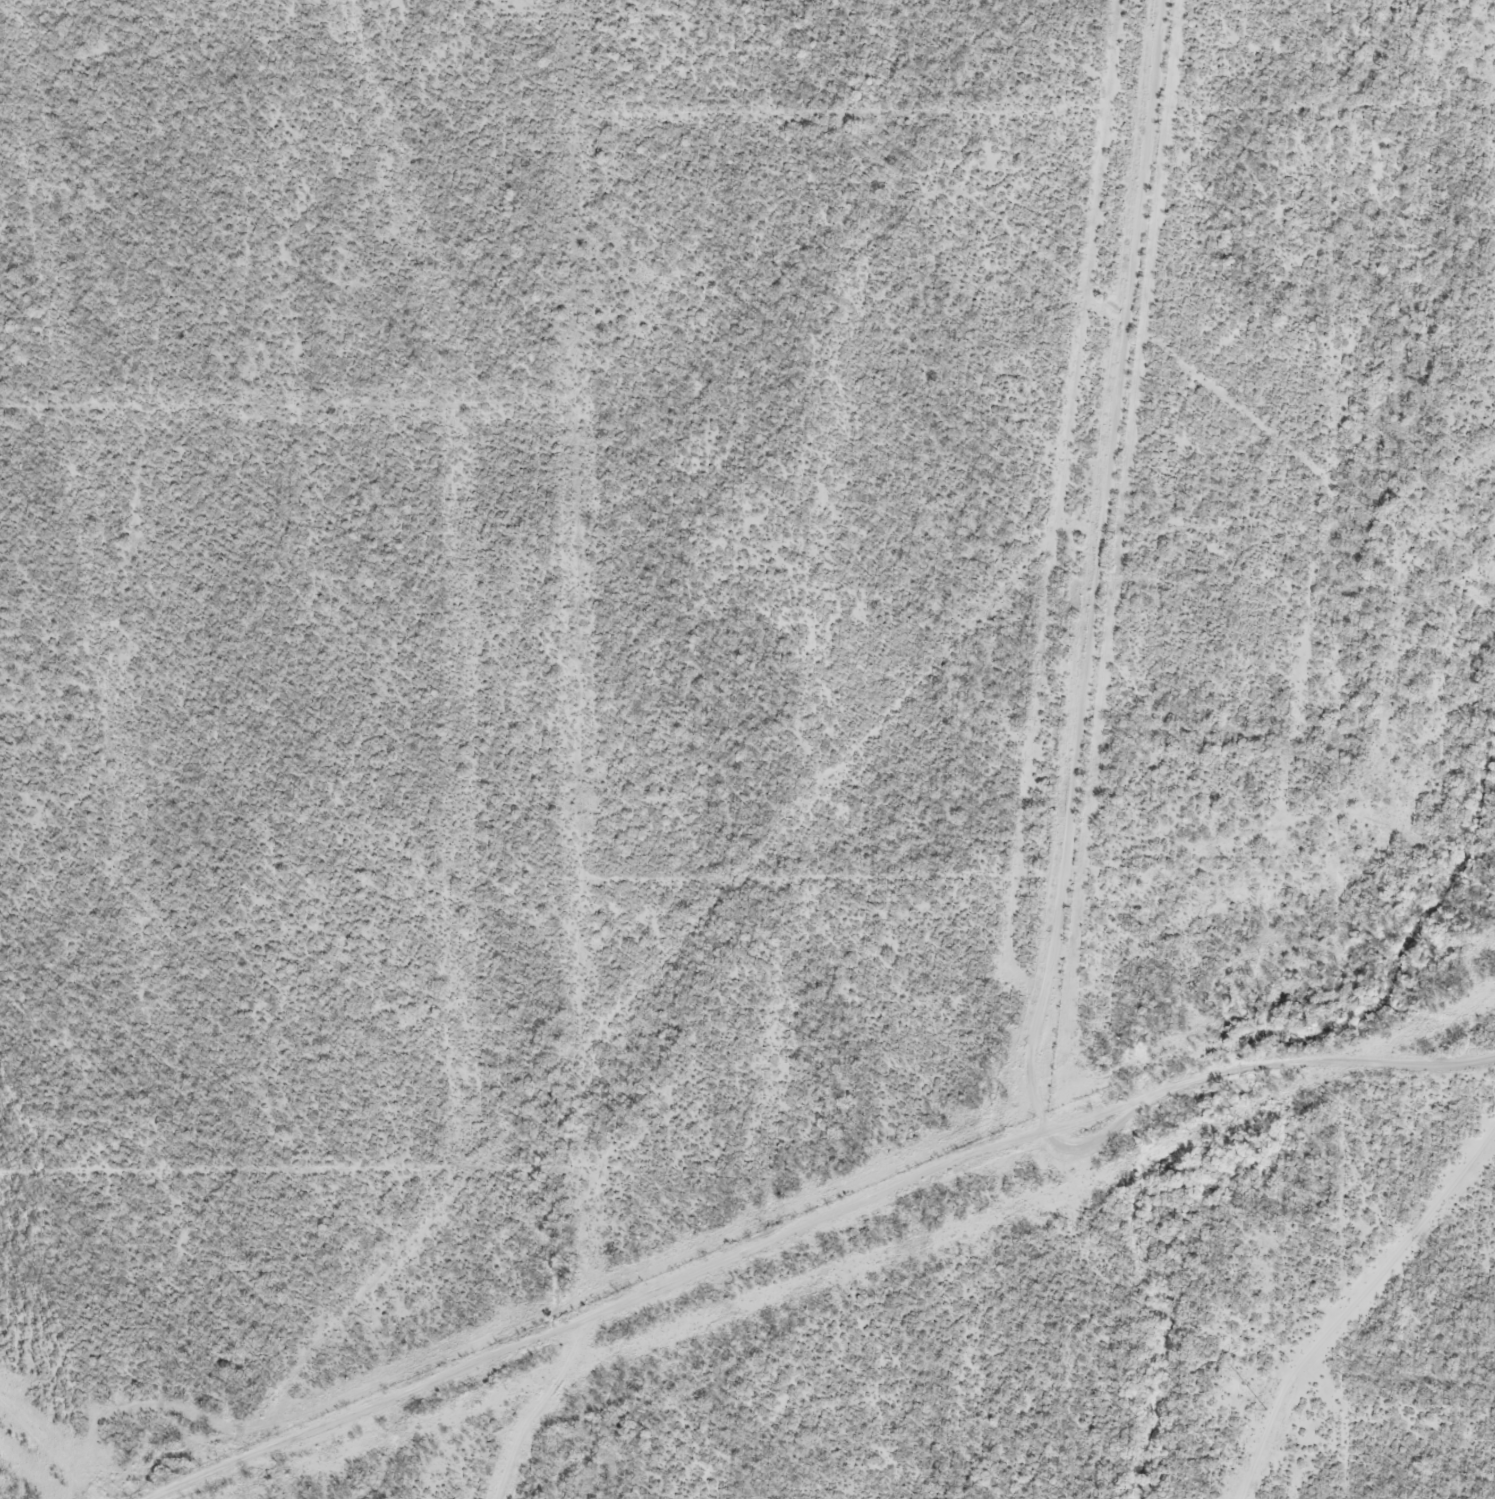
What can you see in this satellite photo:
power tower: (1264, 1410)

